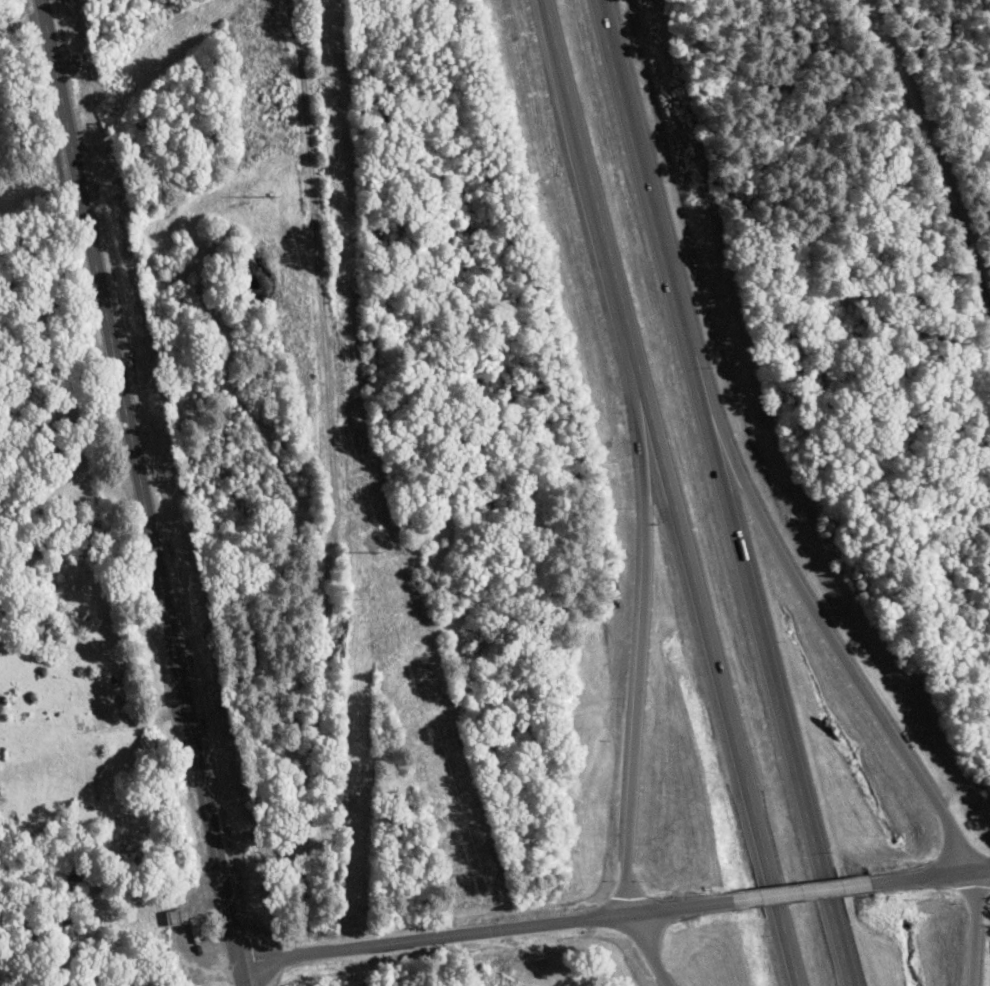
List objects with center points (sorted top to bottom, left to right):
road: (21, 18)
road: (930, 157)
power tower: (272, 194)
road: (330, 474)
road: (144, 492)
road: (670, 492)
road: (723, 492)
power tower: (377, 552)
road: (808, 600)
road: (641, 601)
building: (74, 875)
power tower: (473, 875)
road: (923, 876)
road: (791, 894)
road: (675, 907)
building: (156, 916)
road: (966, 928)
road: (433, 935)
road: (648, 949)
road: (233, 976)

